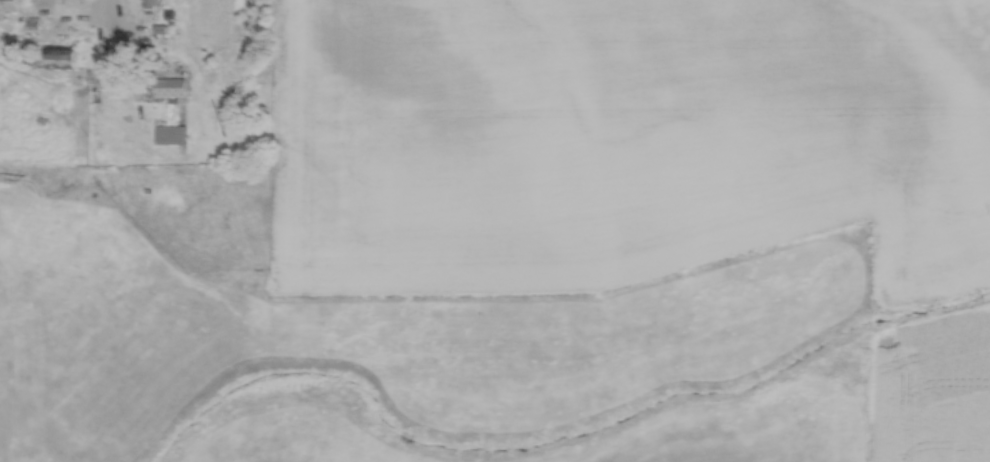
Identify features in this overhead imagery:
building: (155, 2)
building: (10, 4)
road: (112, 32)
building: (64, 59)
building: (172, 86)
building: (173, 133)

